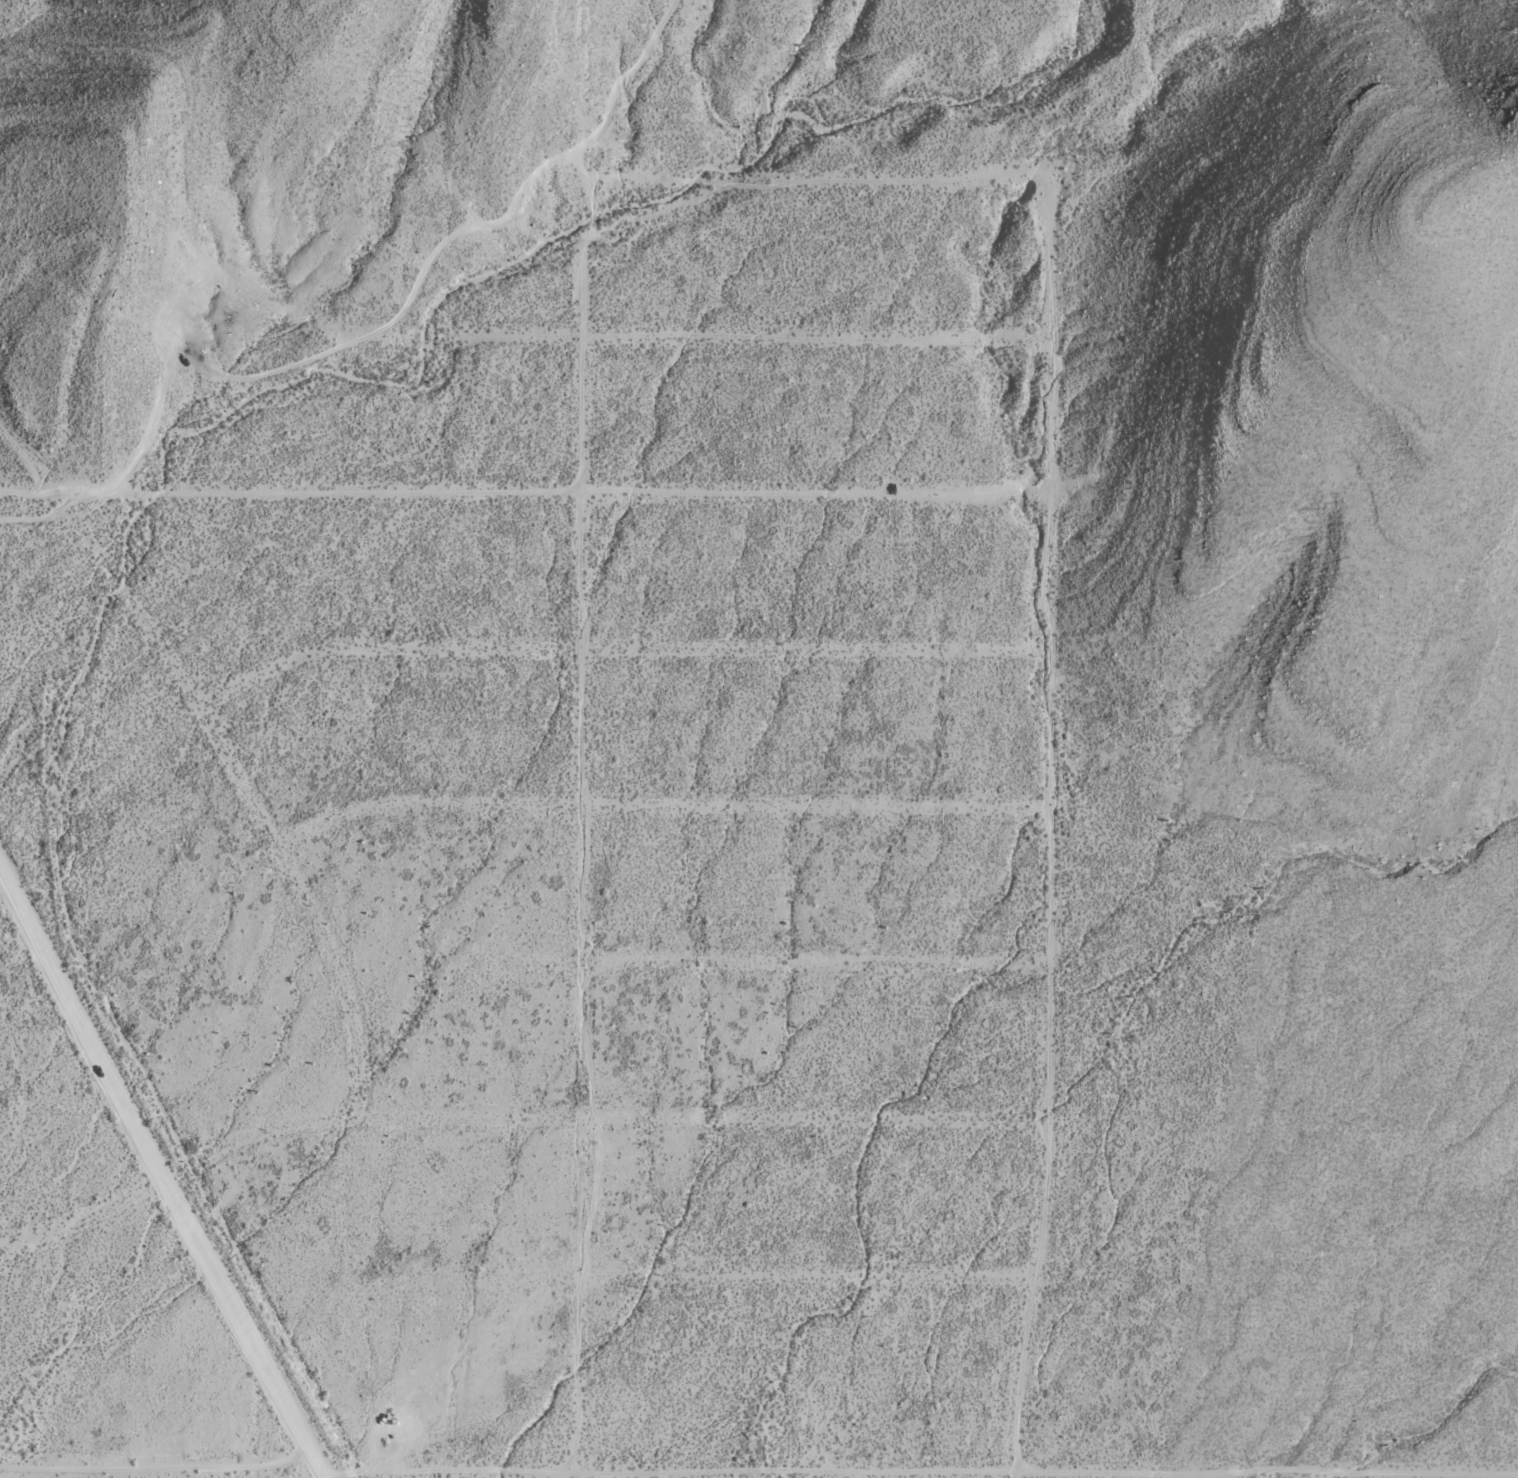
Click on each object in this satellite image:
road: (825, 183)
road: (374, 334)
road: (608, 336)
road: (580, 492)
road: (59, 517)
road: (615, 645)
road: (226, 753)
road: (642, 802)
road: (5, 878)
road: (5, 888)
road: (774, 962)
road: (510, 1118)
road: (163, 1184)
road: (807, 1276)
road: (159, 1469)
road: (750, 1472)
road: (55, 1473)

